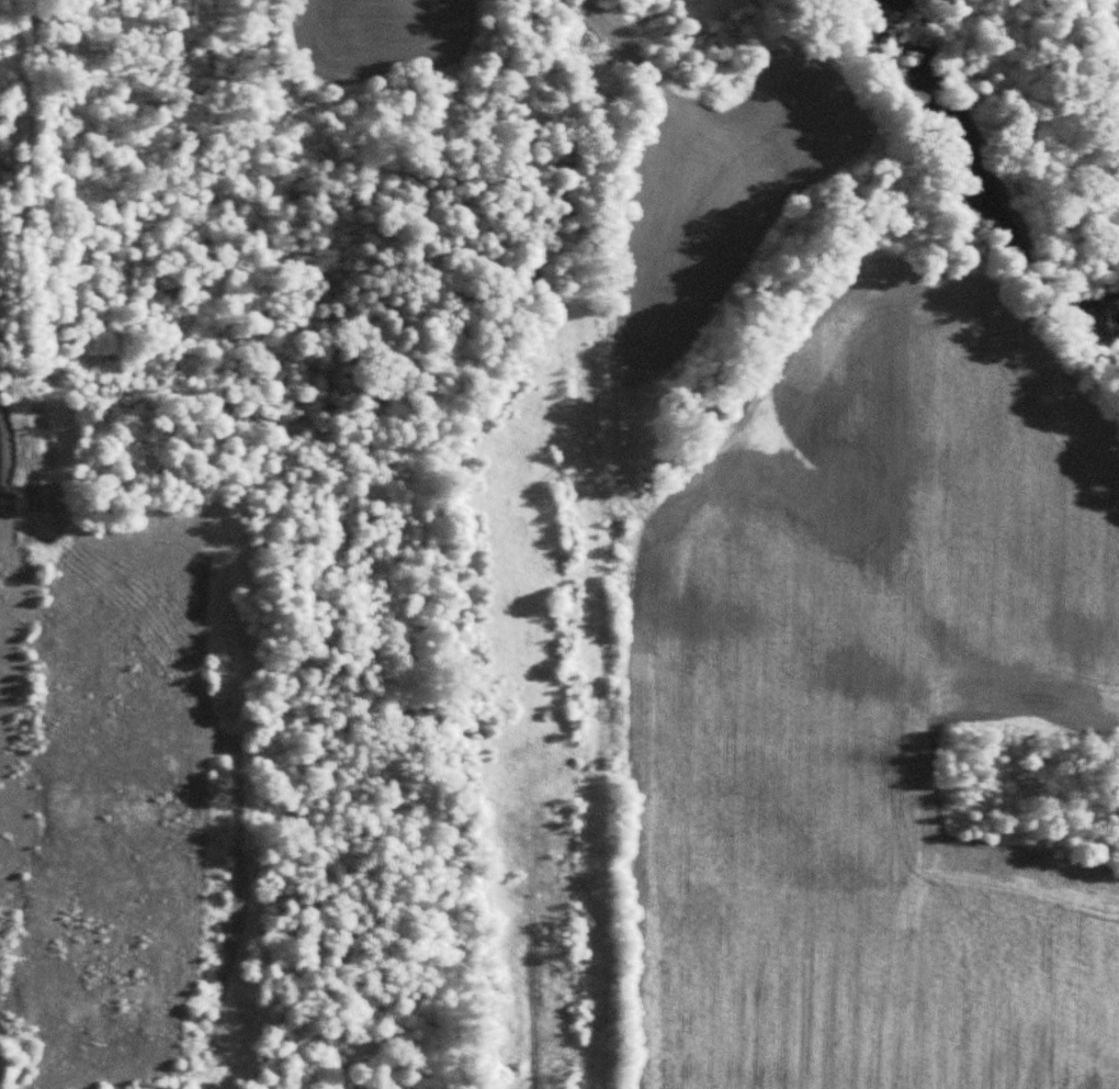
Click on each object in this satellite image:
river: (980, 171)

